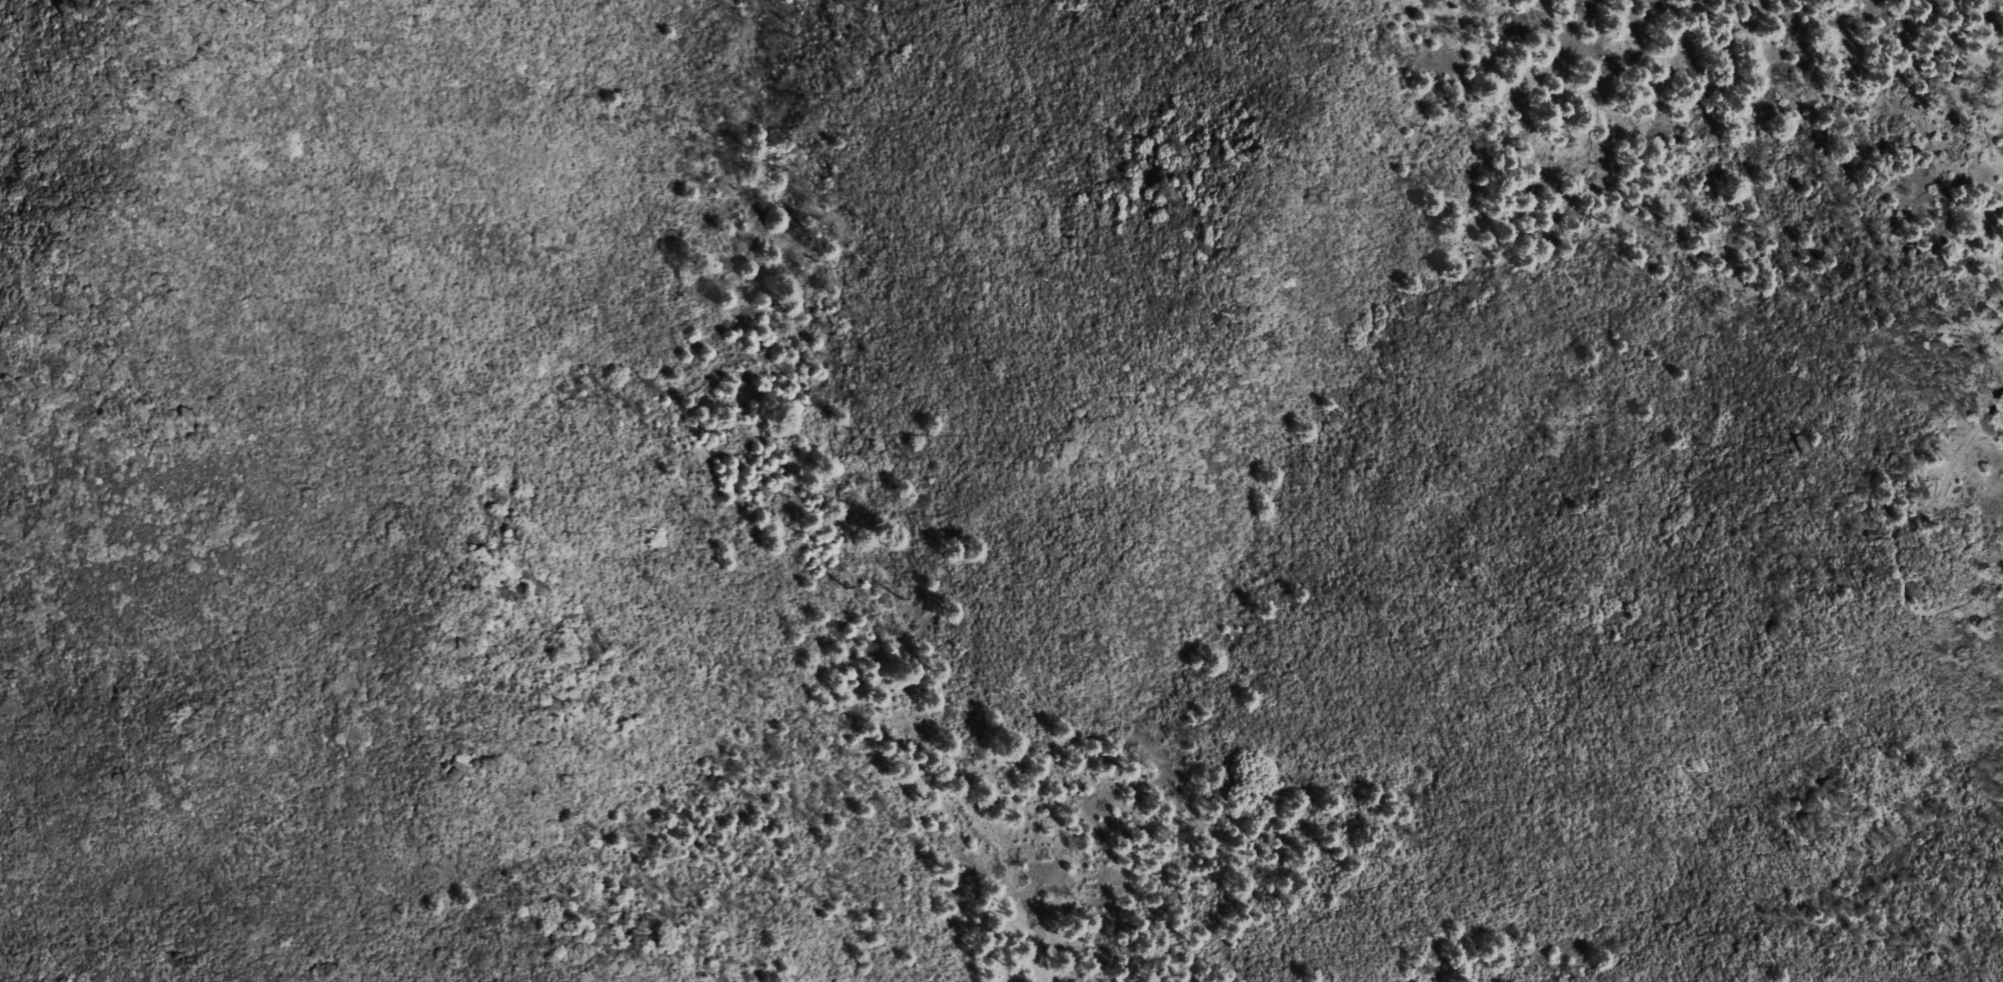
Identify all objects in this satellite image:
road: (1931, 148)
road: (1895, 534)

